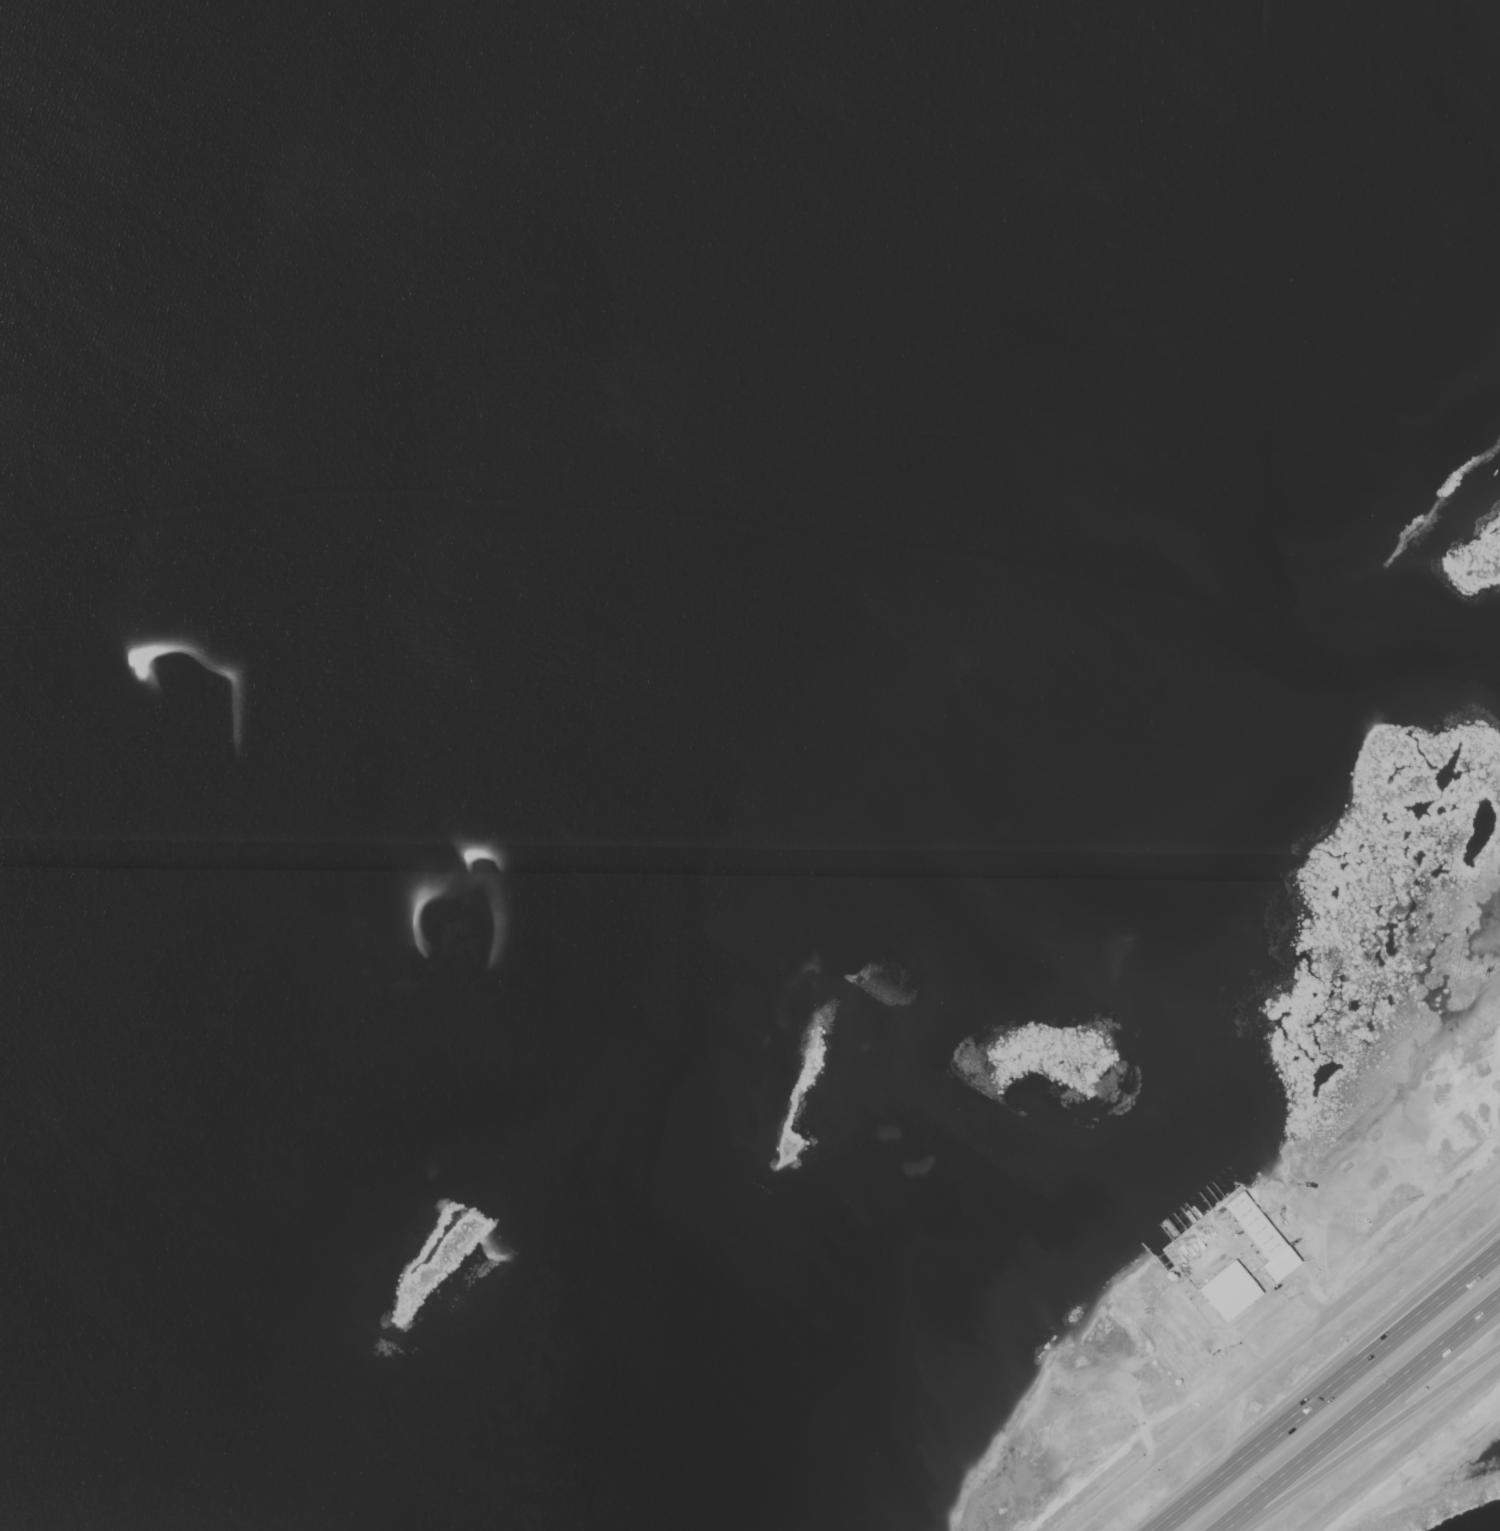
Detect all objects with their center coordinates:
building: (1174, 1225)
building: (1260, 1237)
road: (1471, 1269)
building: (1227, 1293)
road: (1283, 1354)
road: (1328, 1391)
road: (1358, 1414)
road: (1367, 1436)
road: (1402, 1451)
park: (1447, 1486)
railway: (1438, 1507)

